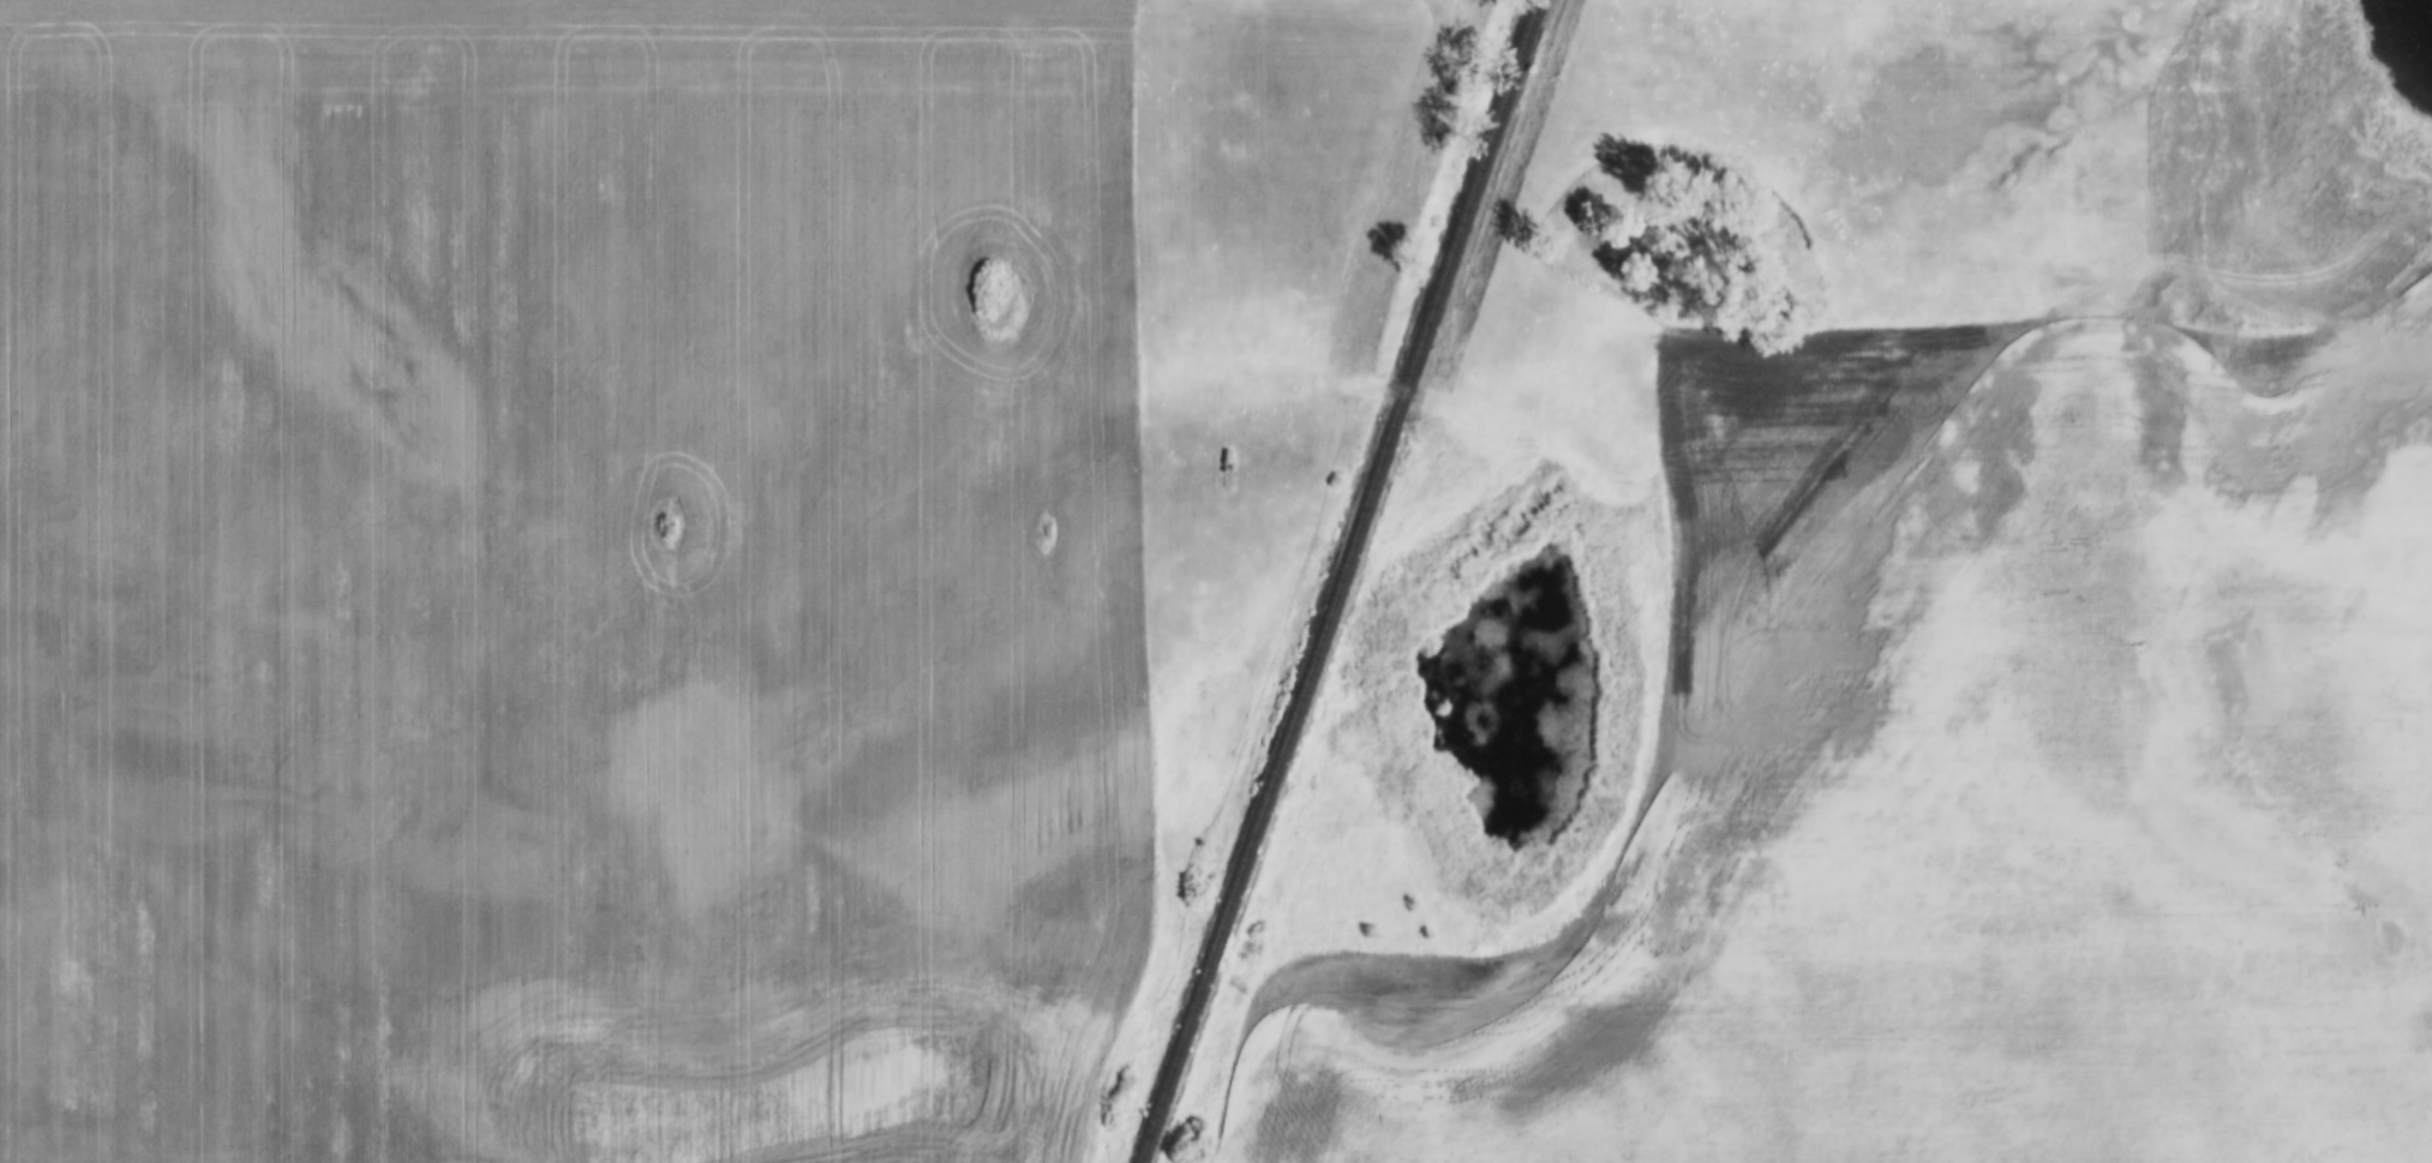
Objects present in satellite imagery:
railway: (1337, 581)

